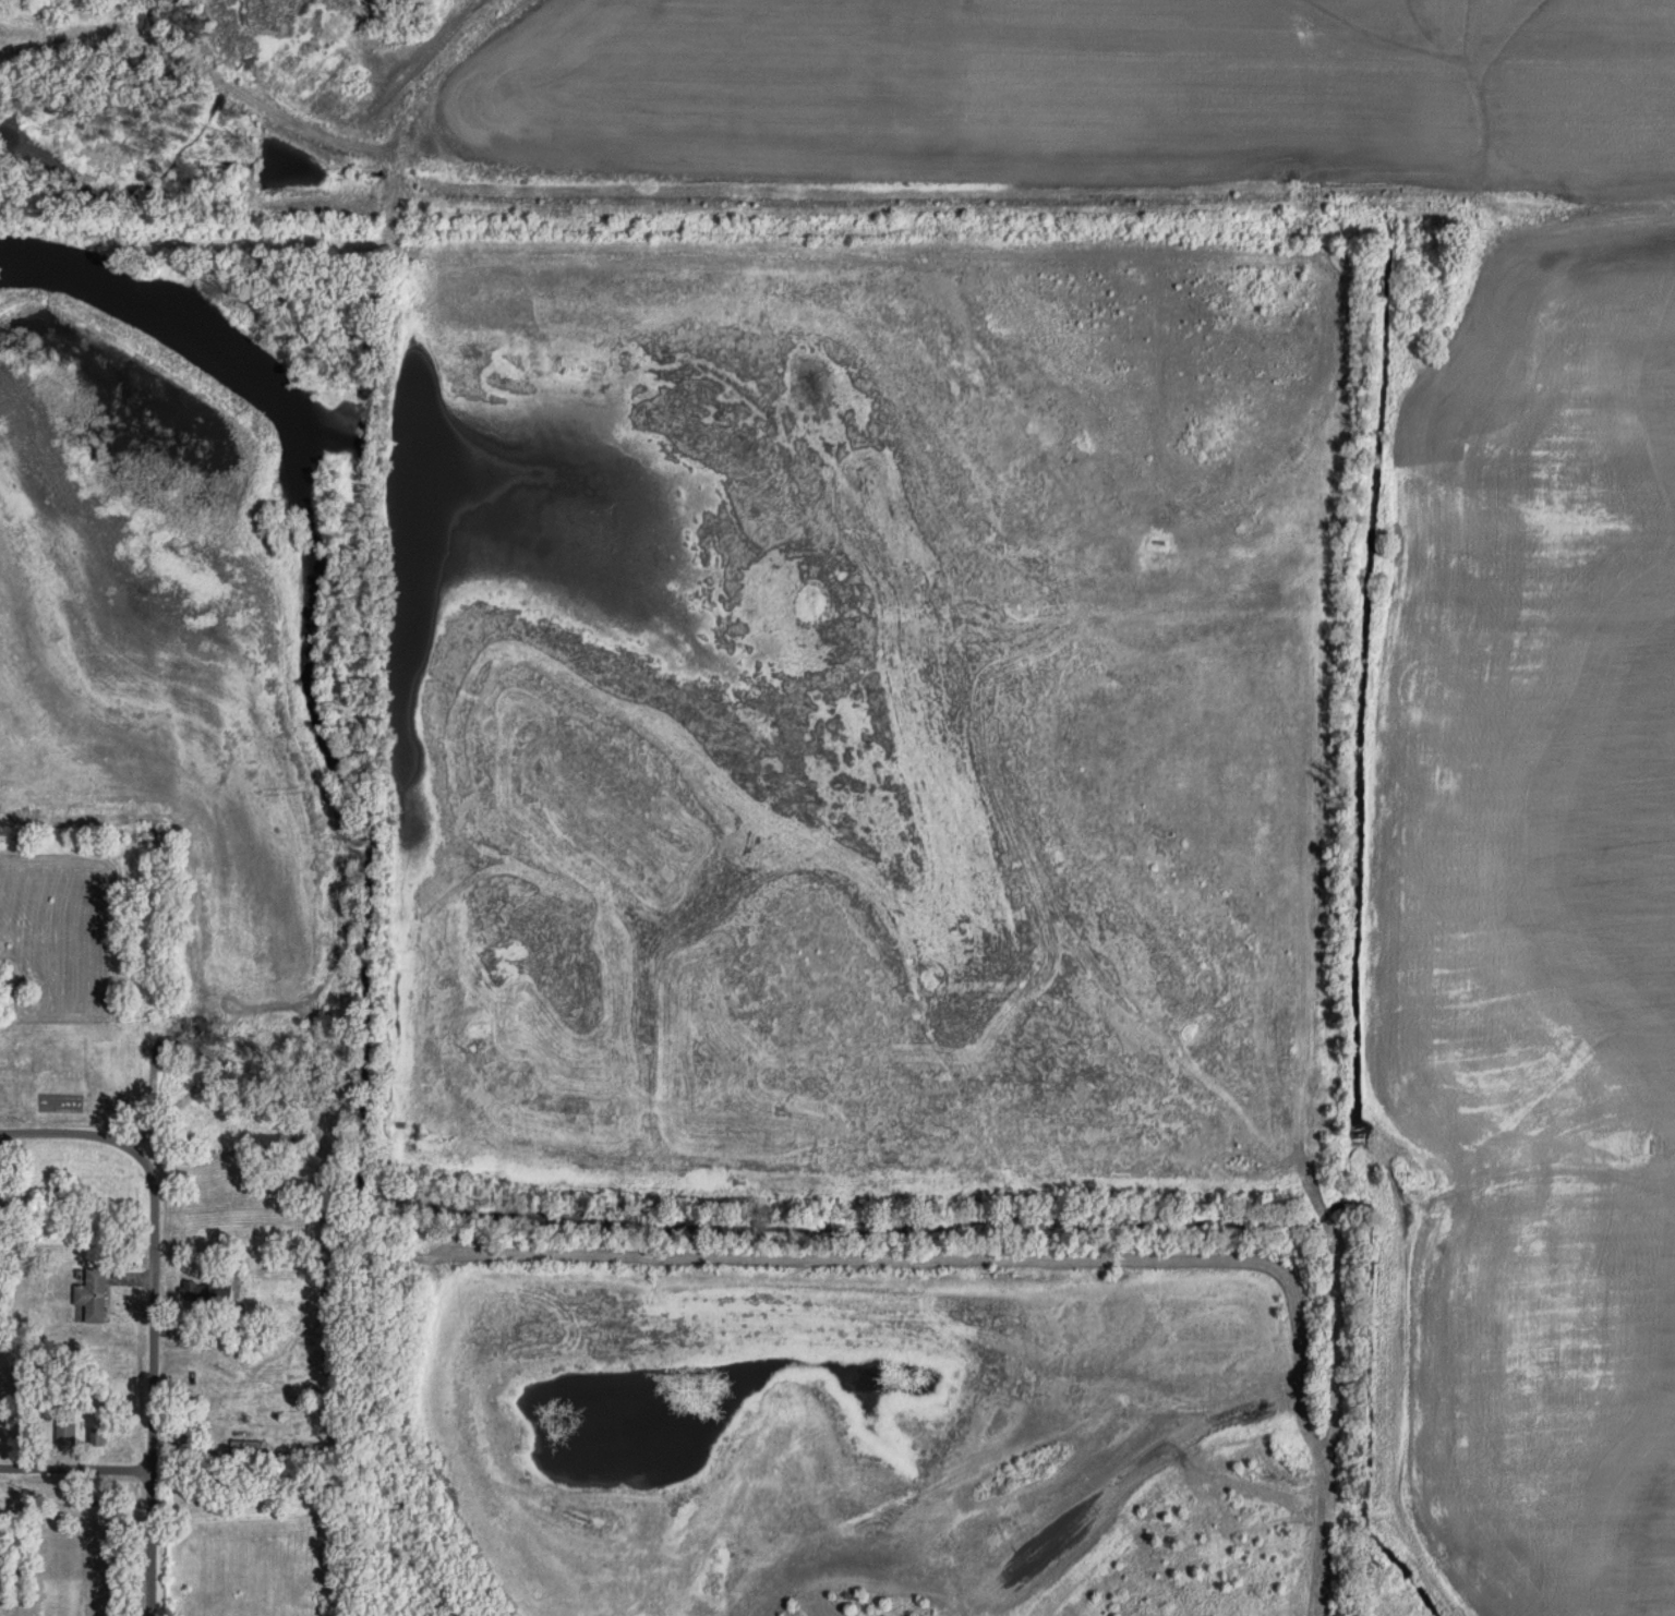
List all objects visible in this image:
park: (10, 2)
road: (143, 35)
road: (76, 1132)
building: (61, 1194)
building: (207, 1292)
building: (93, 1294)
road: (149, 1388)
building: (64, 1432)
building: (96, 1437)
road: (74, 1468)
road: (1330, 1491)

